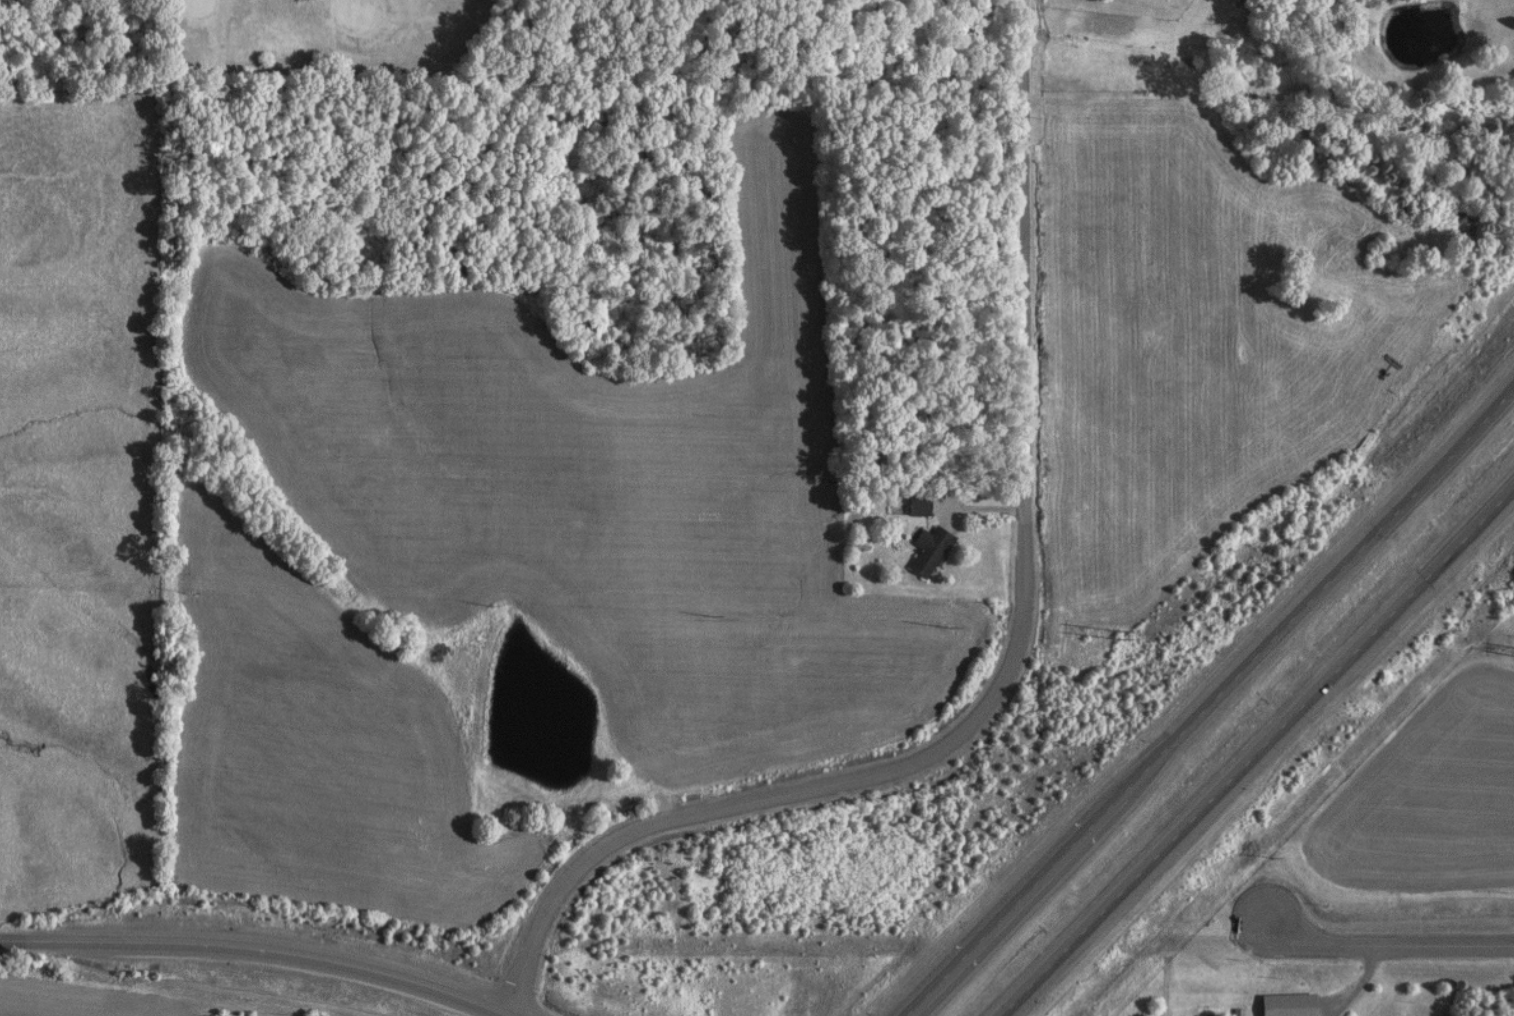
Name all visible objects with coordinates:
road: (1024, 278)
road: (1453, 446)
building: (912, 507)
road: (1485, 508)
building: (922, 552)
road: (1147, 764)
road: (1229, 777)
road: (780, 792)
road: (1384, 946)
road: (265, 950)
building: (1280, 1005)

